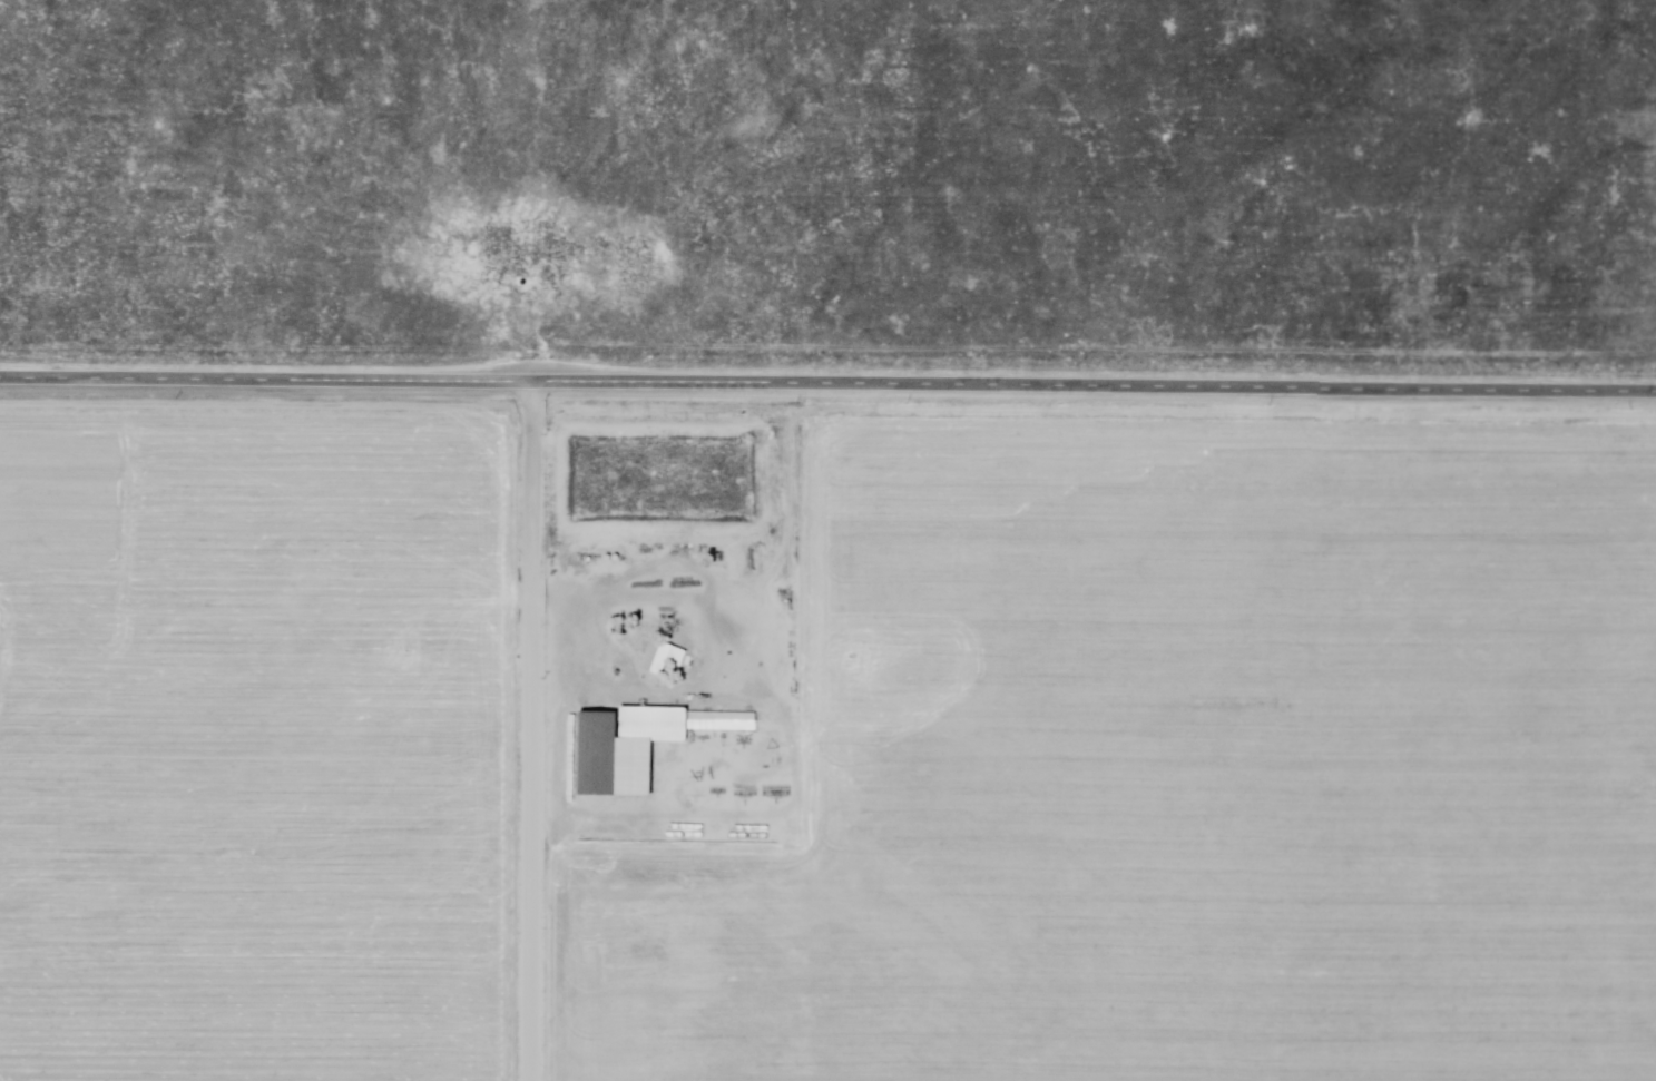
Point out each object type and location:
solar farm: (13, 6)
road: (827, 387)
wastewater plant: (662, 483)
building: (664, 662)
building: (724, 723)
building: (653, 725)
road: (531, 734)
building: (611, 763)

